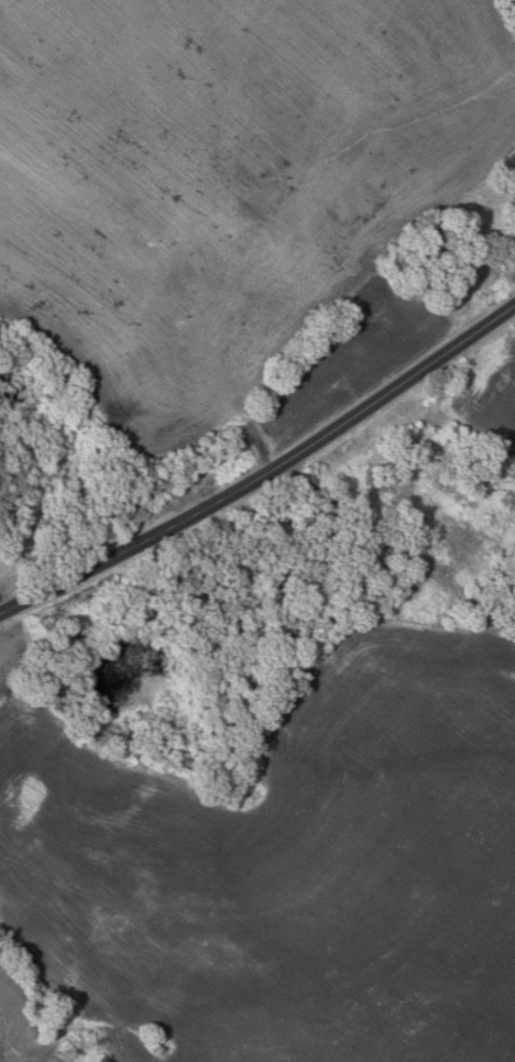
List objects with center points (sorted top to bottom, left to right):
crop: (234, 191)
crop: (485, 395)
road: (265, 471)
power tower: (511, 501)
road: (392, 558)
crop: (285, 866)
crop: (23, 1022)
power tower: (73, 1051)

